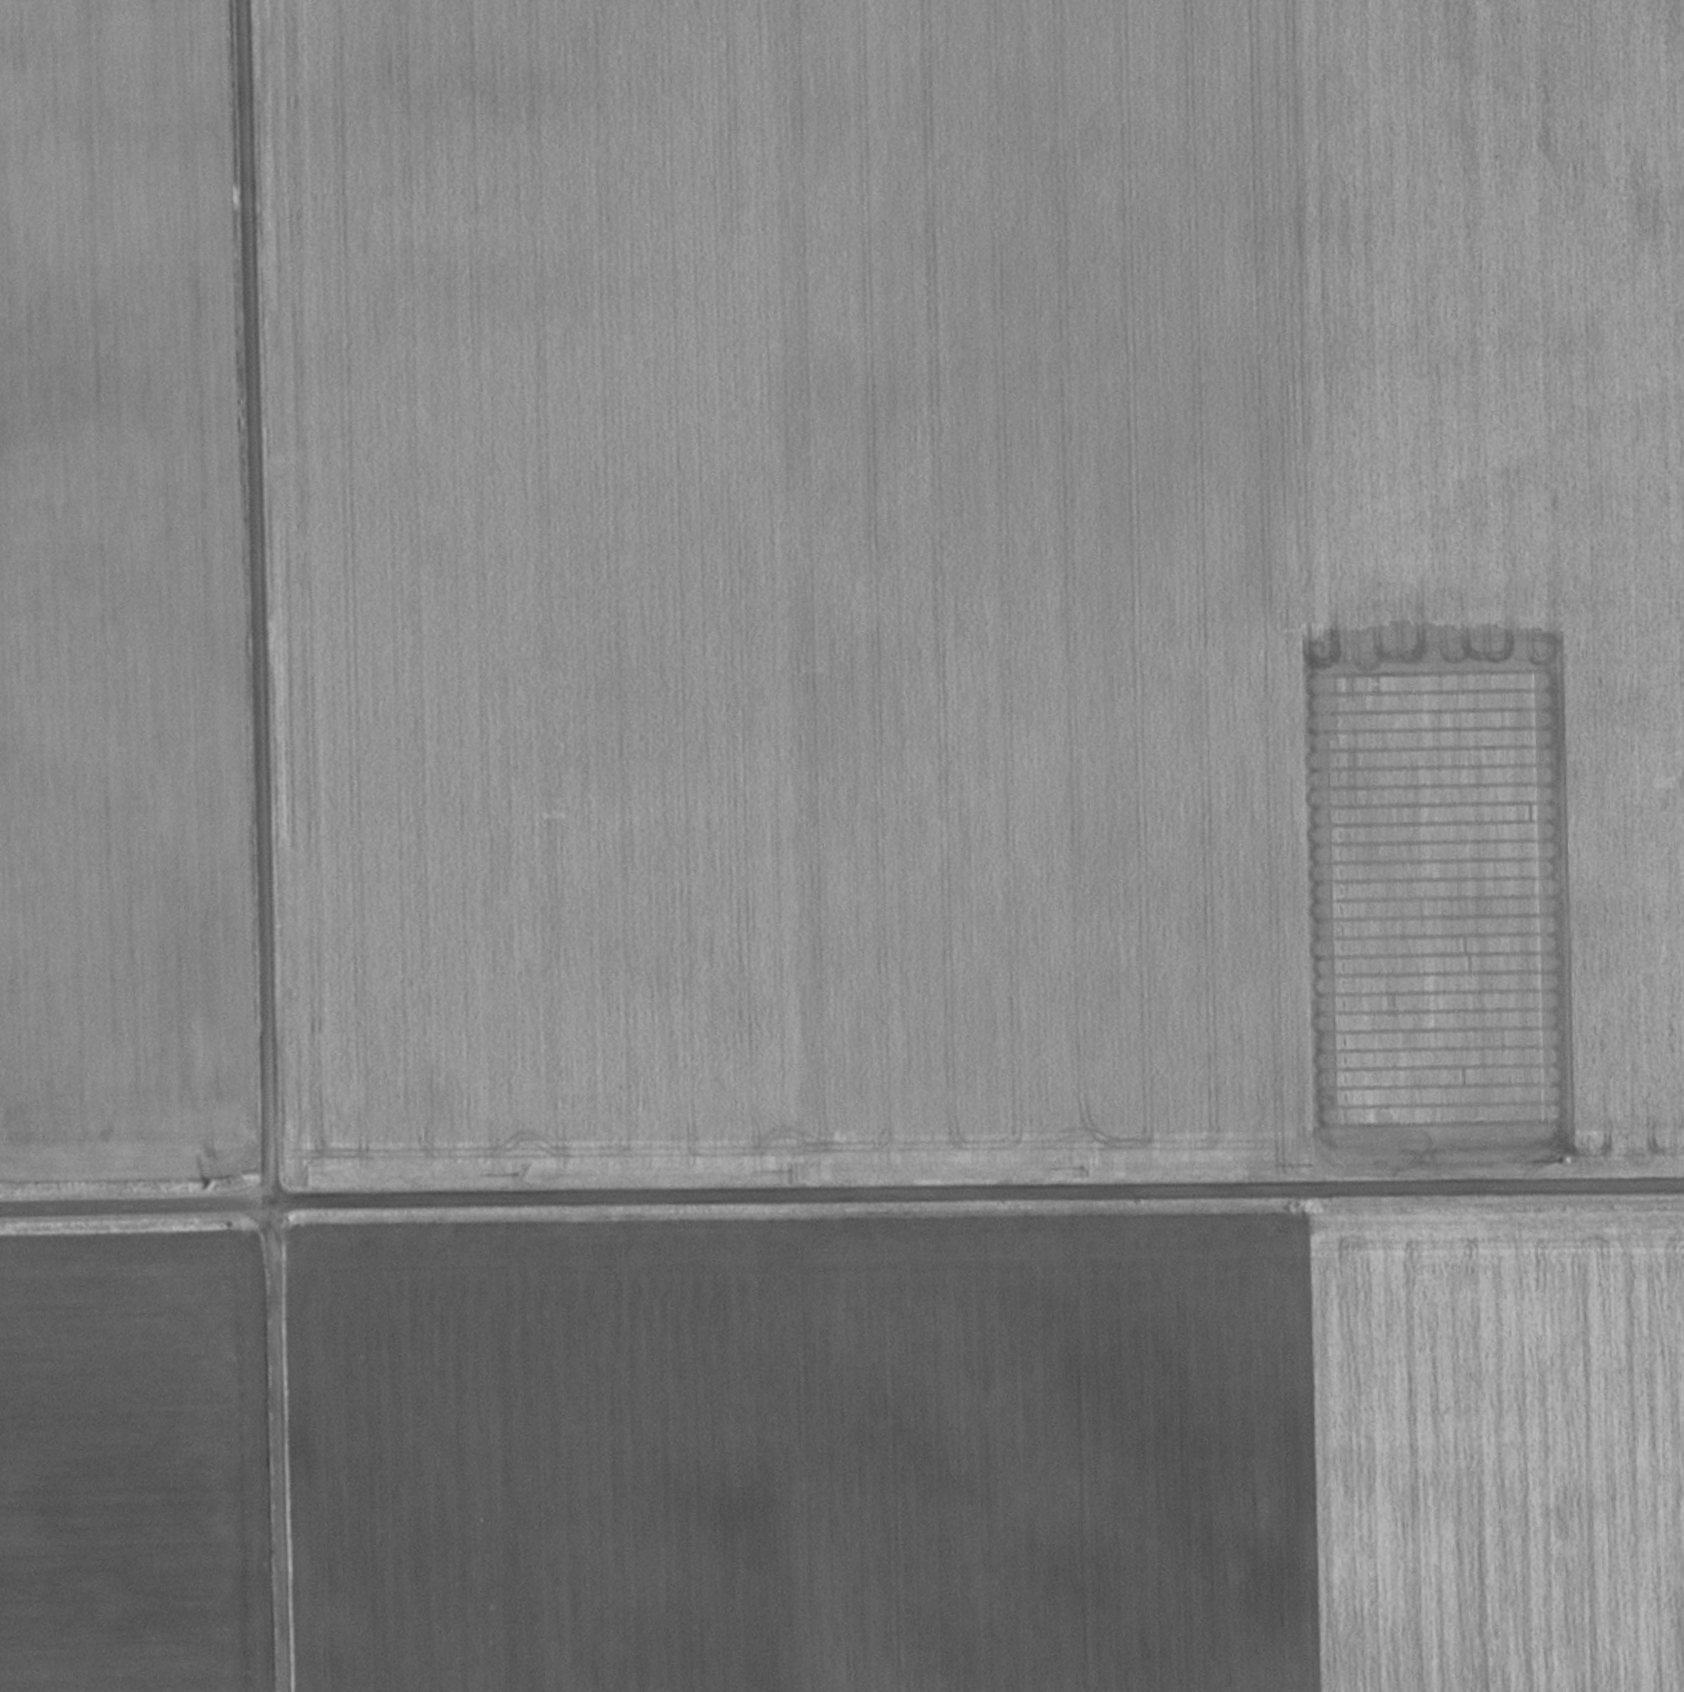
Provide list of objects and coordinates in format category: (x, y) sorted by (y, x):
road: (271, 845)
road: (841, 1191)

